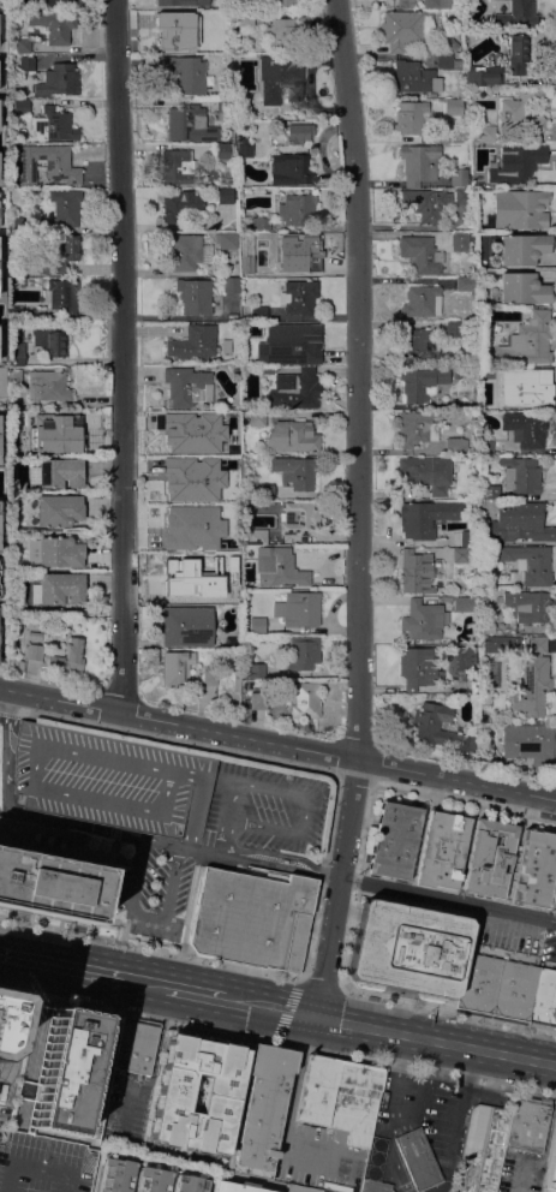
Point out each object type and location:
building: (279, 1)
building: (60, 2)
building: (181, 2)
building: (405, 4)
building: (436, 5)
building: (518, 14)
building: (214, 16)
building: (246, 18)
building: (54, 24)
building: (401, 29)
building: (174, 31)
building: (281, 32)
building: (450, 42)
building: (23, 44)
building: (518, 52)
building: (447, 61)
building: (26, 62)
building: (184, 72)
building: (414, 76)
building: (484, 76)
building: (281, 77)
building: (58, 79)
building: (20, 106)
building: (453, 106)
building: (225, 108)
building: (521, 112)
building: (411, 117)
building: (190, 124)
building: (53, 125)
building: (299, 132)
building: (485, 133)
building: (244, 147)
building: (225, 160)
building: (419, 162)
building: (47, 163)
building: (516, 163)
building: (178, 166)
building: (291, 168)
building: (459, 177)
building: (225, 195)
building: (462, 195)
building: (448, 196)
building: (424, 203)
building: (65, 205)
building: (181, 205)
building: (297, 208)
building: (518, 208)
building: (20, 222)
building: (261, 222)
building: (226, 239)
building: (459, 240)
building: (522, 248)
building: (185, 251)
building: (298, 251)
building: (420, 254)
building: (59, 255)
building: (259, 267)
building: (468, 284)
building: (232, 285)
building: (522, 287)
building: (61, 294)
building: (193, 296)
building: (298, 297)
building: (423, 300)
building: (258, 312)
building: (453, 329)
building: (527, 339)
building: (49, 340)
building: (193, 342)
building: (412, 342)
building: (289, 344)
building: (226, 345)
building: (16, 354)
road: (124, 356)
building: (267, 369)
building: (456, 372)
building: (13, 376)
road: (358, 377)
building: (2, 382)
building: (420, 382)
building: (48, 385)
building: (187, 386)
building: (294, 389)
building: (532, 392)
building: (256, 418)
building: (415, 428)
building: (525, 428)
building: (0, 431)
building: (48, 434)
building: (180, 436)
building: (292, 436)
building: (454, 445)
building: (220, 454)
building: (295, 471)
building: (60, 472)
building: (426, 472)
building: (520, 473)
building: (191, 478)
park: (1, 484)
building: (265, 490)
building: (491, 490)
building: (59, 509)
building: (226, 509)
building: (187, 513)
building: (298, 517)
building: (428, 517)
building: (520, 523)
building: (0, 534)
building: (253, 536)
building: (467, 537)
building: (246, 548)
building: (59, 552)
building: (460, 555)
building: (530, 562)
building: (279, 566)
building: (415, 571)
building: (183, 579)
building: (61, 588)
building: (237, 588)
building: (447, 598)
building: (465, 603)
building: (527, 606)
building: (298, 608)
building: (423, 619)
building: (256, 625)
building: (486, 625)
building: (186, 626)
building: (500, 643)
building: (34, 651)
building: (303, 652)
building: (68, 656)
building: (459, 662)
building: (17, 664)
building: (177, 667)
building: (417, 667)
building: (256, 670)
building: (209, 675)
building: (237, 675)
building: (532, 679)
road: (5, 699)
road: (59, 699)
building: (304, 699)
building: (258, 701)
building: (440, 727)
building: (528, 744)
road: (337, 753)
road: (268, 759)
building: (104, 779)
road: (371, 792)
road: (306, 795)
road: (30, 815)
road: (348, 816)
road: (227, 835)
building: (394, 839)
road: (166, 841)
building: (442, 848)
road: (213, 851)
road: (277, 852)
building: (489, 857)
road: (275, 863)
road: (324, 869)
building: (534, 869)
building: (47, 871)
road: (447, 898)
road: (144, 913)
building: (250, 918)
road: (327, 944)
road: (150, 947)
building: (407, 948)
road: (61, 966)
road: (319, 981)
building: (477, 982)
road: (147, 983)
building: (513, 989)
road: (197, 993)
building: (543, 999)
road: (268, 1007)
road: (447, 1007)
road: (286, 1008)
building: (4, 1014)
road: (150, 1018)
road: (18, 1021)
road: (304, 1031)
road: (435, 1041)
building: (133, 1045)
road: (153, 1066)
road: (429, 1072)
building: (71, 1074)
building: (317, 1090)
building: (196, 1092)
building: (355, 1102)
building: (262, 1110)
road: (287, 1117)
building: (527, 1124)
building: (483, 1149)
road: (545, 1150)
building: (352, 1155)
building: (373, 1157)
building: (418, 1158)
building: (43, 1164)
parking lot: (43, 1164)
building: (552, 1170)
building: (347, 1173)
building: (147, 1179)
building: (238, 1186)
building: (376, 1186)
building: (300, 1188)
building: (343, 1188)

